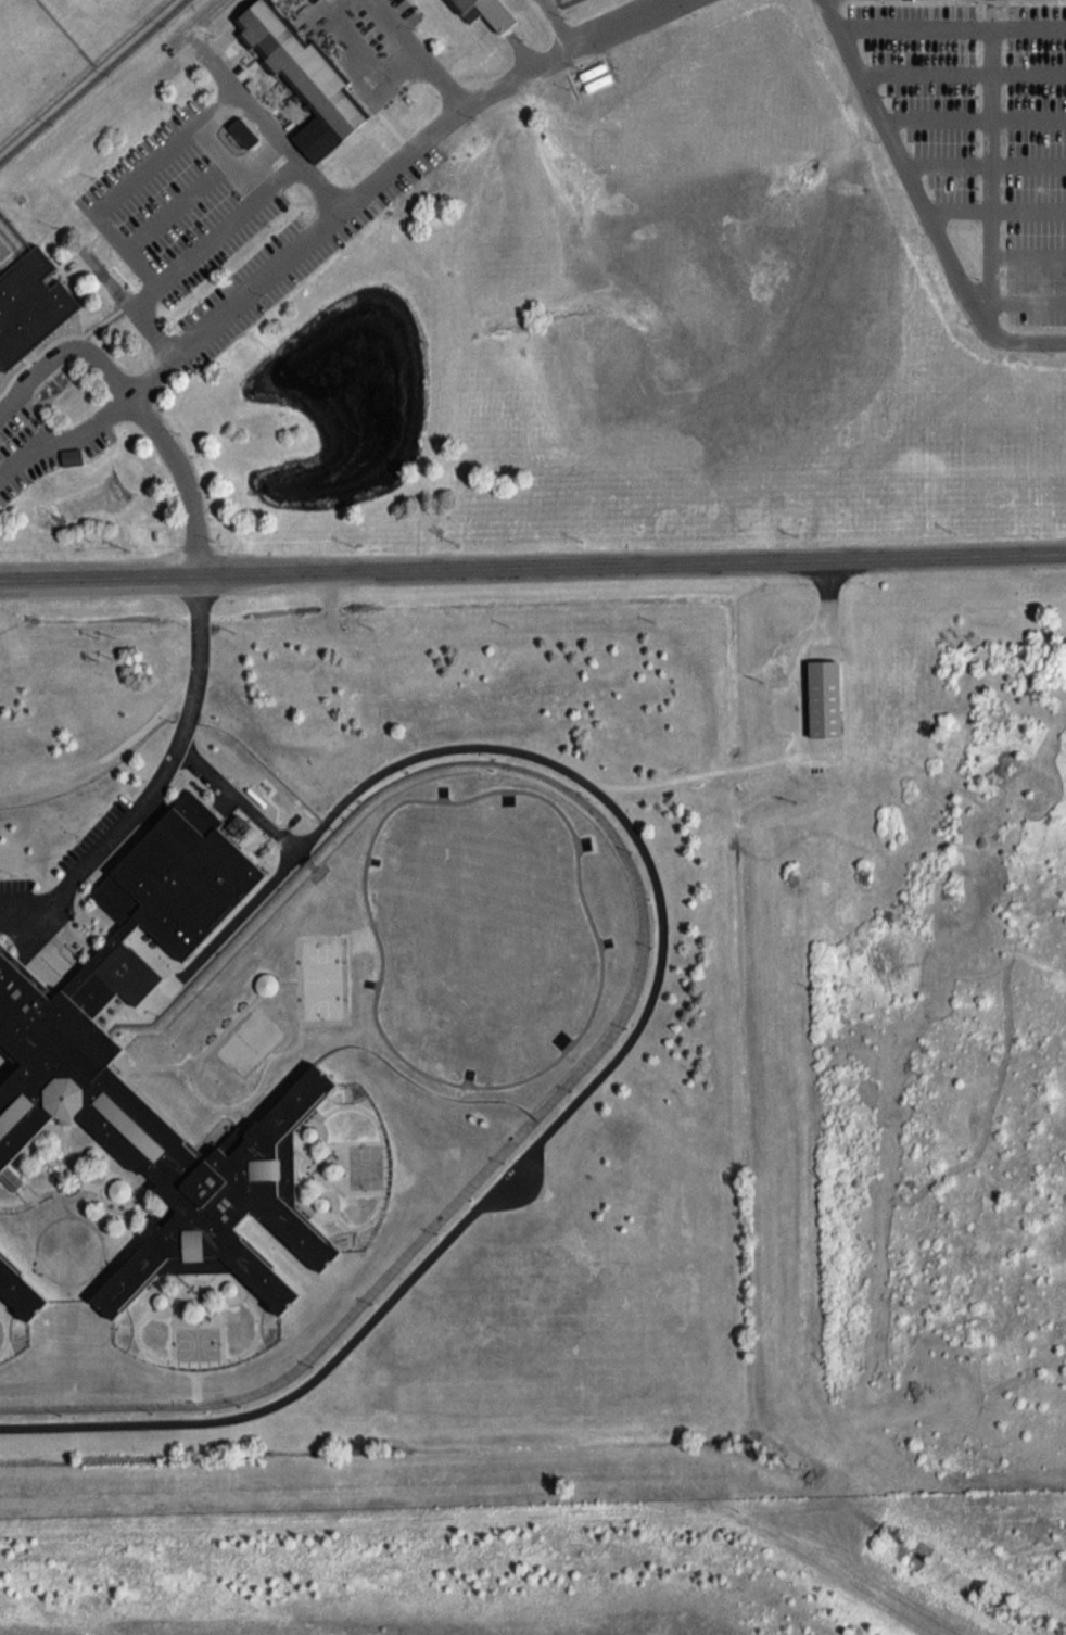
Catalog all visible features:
building: (491, 12)
road: (559, 25)
road: (954, 25)
road: (413, 54)
road: (964, 71)
building: (306, 76)
road: (494, 91)
road: (256, 107)
road: (974, 116)
building: (242, 129)
road: (396, 129)
parking lot: (987, 135)
road: (992, 162)
road: (150, 164)
road: (983, 164)
road: (178, 199)
road: (921, 202)
road: (994, 207)
road: (1029, 254)
road: (151, 282)
road: (1029, 303)
building: (26, 304)
road: (154, 326)
road: (168, 359)
road: (167, 445)
building: (72, 456)
road: (633, 563)
road: (126, 576)
road: (25, 579)
building: (824, 698)
road: (791, 749)
road: (162, 776)
road: (240, 796)
building: (268, 984)
road: (640, 1023)
building: (67, 1052)
building: (11, 1177)
building: (120, 1189)
building: (21, 1289)

